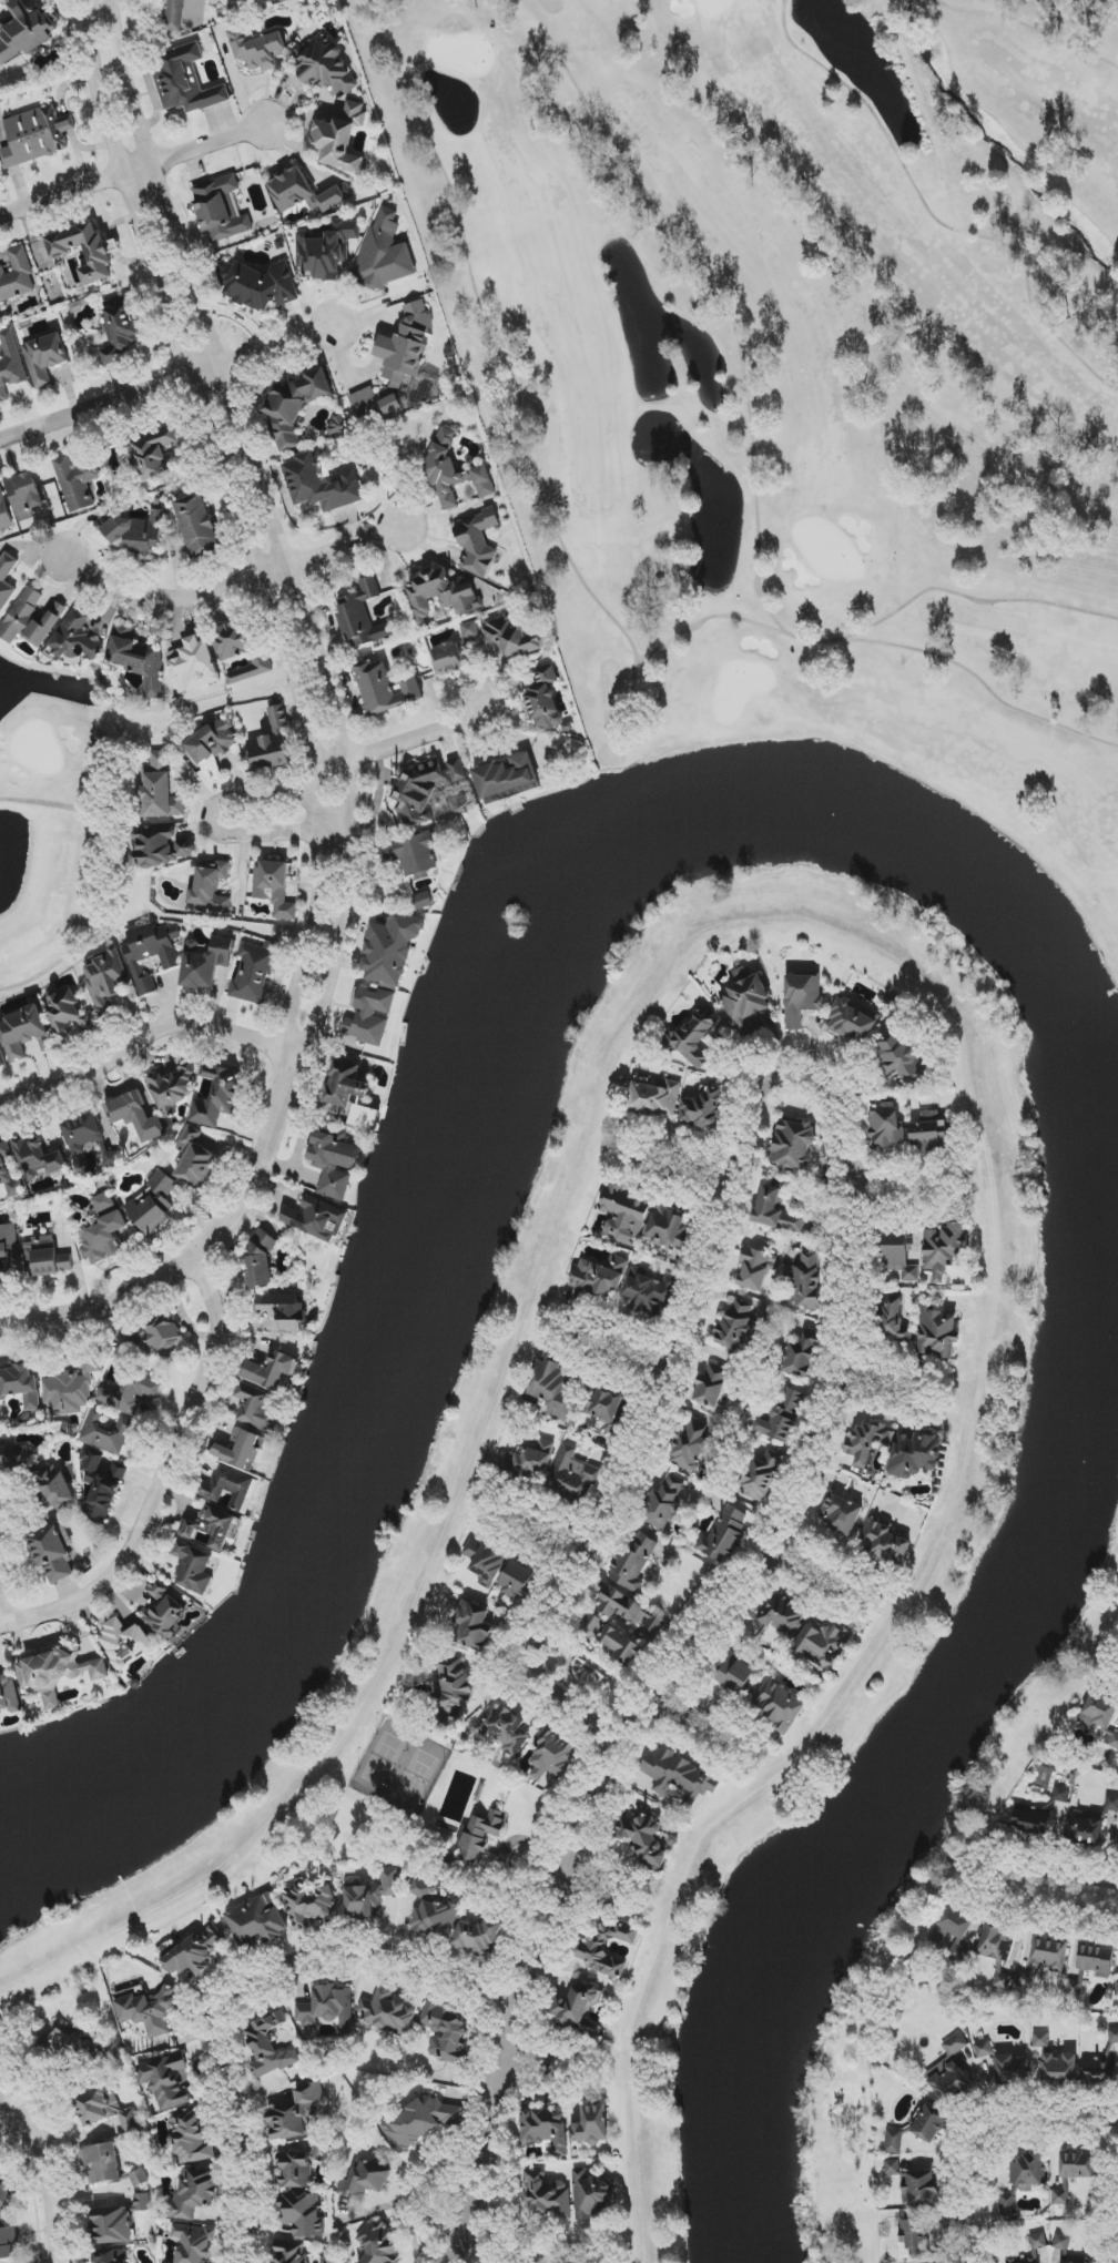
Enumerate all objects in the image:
building: (174, 16)
road: (1028, 27)
building: (26, 31)
building: (257, 49)
building: (325, 65)
building: (186, 81)
building: (35, 135)
building: (341, 139)
road: (132, 170)
building: (304, 192)
building: (221, 210)
road: (933, 214)
building: (325, 251)
building: (385, 253)
building: (99, 255)
building: (17, 275)
building: (257, 285)
building: (120, 331)
building: (44, 358)
building: (398, 362)
road: (507, 363)
building: (10, 364)
road: (170, 382)
building: (294, 406)
building: (337, 424)
building: (154, 453)
park: (802, 454)
road: (755, 467)
building: (454, 470)
building: (77, 481)
building: (319, 486)
building: (24, 495)
building: (4, 513)
building: (197, 525)
building: (136, 534)
building: (477, 542)
building: (7, 579)
road: (261, 581)
road: (295, 583)
road: (233, 585)
building: (441, 593)
road: (973, 599)
building: (363, 616)
road: (709, 619)
building: (31, 620)
building: (511, 638)
building: (75, 639)
building: (233, 640)
building: (455, 651)
building: (138, 658)
building: (194, 664)
building: (253, 669)
building: (384, 689)
building: (545, 700)
road: (405, 739)
building: (272, 743)
building: (212, 747)
building: (507, 779)
building: (425, 788)
building: (161, 789)
road: (212, 818)
park: (52, 830)
building: (162, 846)
building: (413, 853)
building: (274, 887)
building: (210, 890)
building: (424, 901)
building: (390, 948)
building: (150, 953)
building: (205, 963)
building: (254, 973)
building: (104, 977)
building: (802, 998)
building: (746, 1003)
building: (891, 1006)
building: (70, 1012)
building: (370, 1015)
building: (851, 1022)
building: (22, 1032)
road: (149, 1035)
building: (694, 1037)
building: (2, 1059)
building: (903, 1062)
building: (345, 1084)
building: (172, 1088)
building: (217, 1096)
building: (654, 1099)
building: (702, 1109)
building: (135, 1116)
building: (886, 1126)
building: (928, 1131)
building: (82, 1133)
building: (793, 1145)
road: (639, 1151)
building: (38, 1158)
building: (111, 1158)
building: (194, 1159)
building: (334, 1164)
building: (9, 1173)
road: (948, 1184)
building: (153, 1204)
building: (775, 1212)
building: (624, 1215)
building: (315, 1219)
building: (669, 1229)
building: (103, 1231)
building: (9, 1249)
building: (943, 1249)
building: (45, 1257)
building: (898, 1257)
building: (260, 1264)
building: (753, 1269)
building: (600, 1277)
building: (807, 1282)
road: (150, 1285)
building: (649, 1292)
building: (284, 1311)
building: (894, 1319)
building: (736, 1326)
building: (937, 1333)
road: (585, 1335)
building: (165, 1337)
road: (671, 1339)
building: (801, 1357)
building: (273, 1372)
building: (711, 1386)
building: (20, 1387)
building: (552, 1387)
building: (72, 1389)
building: (129, 1390)
road: (926, 1393)
building: (257, 1408)
building: (606, 1410)
building: (783, 1415)
building: (106, 1431)
building: (865, 1442)
building: (694, 1447)
building: (241, 1450)
building: (13, 1455)
building: (915, 1455)
building: (529, 1461)
building: (575, 1475)
building: (762, 1475)
road: (165, 1480)
building: (101, 1485)
building: (54, 1488)
building: (231, 1488)
building: (662, 1505)
building: (840, 1514)
building: (213, 1528)
road: (545, 1533)
building: (724, 1535)
building: (883, 1542)
building: (53, 1555)
building: (632, 1563)
building: (193, 1569)
building: (518, 1582)
road: (857, 1594)
road: (3, 1599)
building: (165, 1610)
building: (628, 1610)
building: (783, 1615)
building: (472, 1627)
building: (609, 1638)
building: (125, 1643)
building: (823, 1644)
building: (58, 1672)
building: (735, 1673)
road: (664, 1683)
building: (451, 1694)
building: (8, 1695)
building: (779, 1705)
road: (563, 1707)
building: (1098, 1712)
building: (502, 1729)
building: (1111, 1741)
road: (741, 1742)
building: (551, 1753)
building: (678, 1776)
building: (1061, 1794)
building: (1111, 1804)
park: (425, 1814)
building: (1031, 1820)
building: (1084, 1829)
building: (479, 1835)
road: (1065, 1879)
road: (597, 1886)
building: (369, 1896)
building: (311, 1905)
road: (1067, 1909)
building: (434, 1910)
building: (257, 1919)
building: (956, 1931)
building: (478, 1937)
building: (995, 1944)
building: (604, 1947)
building: (193, 1954)
road: (313, 1955)
building: (1048, 1955)
building: (1096, 1961)
building: (1003, 1981)
building: (1024, 1982)
building: (1117, 1996)
building: (576, 2006)
building: (327, 2009)
building: (387, 2011)
building: (148, 2012)
building: (446, 2032)
building: (1114, 2036)
building: (1040, 2040)
building: (64, 2044)
building: (268, 2048)
building: (983, 2049)
road: (557, 2066)
building: (1059, 2070)
building: (1010, 2071)
building: (1099, 2072)
building: (951, 2073)
building: (165, 2081)
building: (104, 2109)
building: (296, 2113)
road: (20, 2121)
road: (978, 2122)
building: (418, 2123)
building: (929, 2123)
building: (591, 2125)
building: (546, 2129)
building: (189, 2138)
building: (894, 2141)
building: (101, 2163)
building: (1077, 2164)
building: (299, 2165)
building: (892, 2168)
building: (139, 2178)
building: (365, 2180)
building: (1020, 2180)
road: (250, 2181)
building: (921, 2189)
road: (49, 2190)
building: (194, 2193)
building: (591, 2193)
building: (4, 2194)
building: (1061, 2194)
building: (546, 2195)
building: (142, 2202)
building: (302, 2214)
road: (436, 2216)
building: (112, 2225)
building: (8, 2237)
building: (377, 2242)
building: (194, 2243)
building: (1061, 2243)
building: (1030, 2250)
building: (291, 2253)
building: (112, 2256)
road: (561, 2256)
road: (531, 2261)

